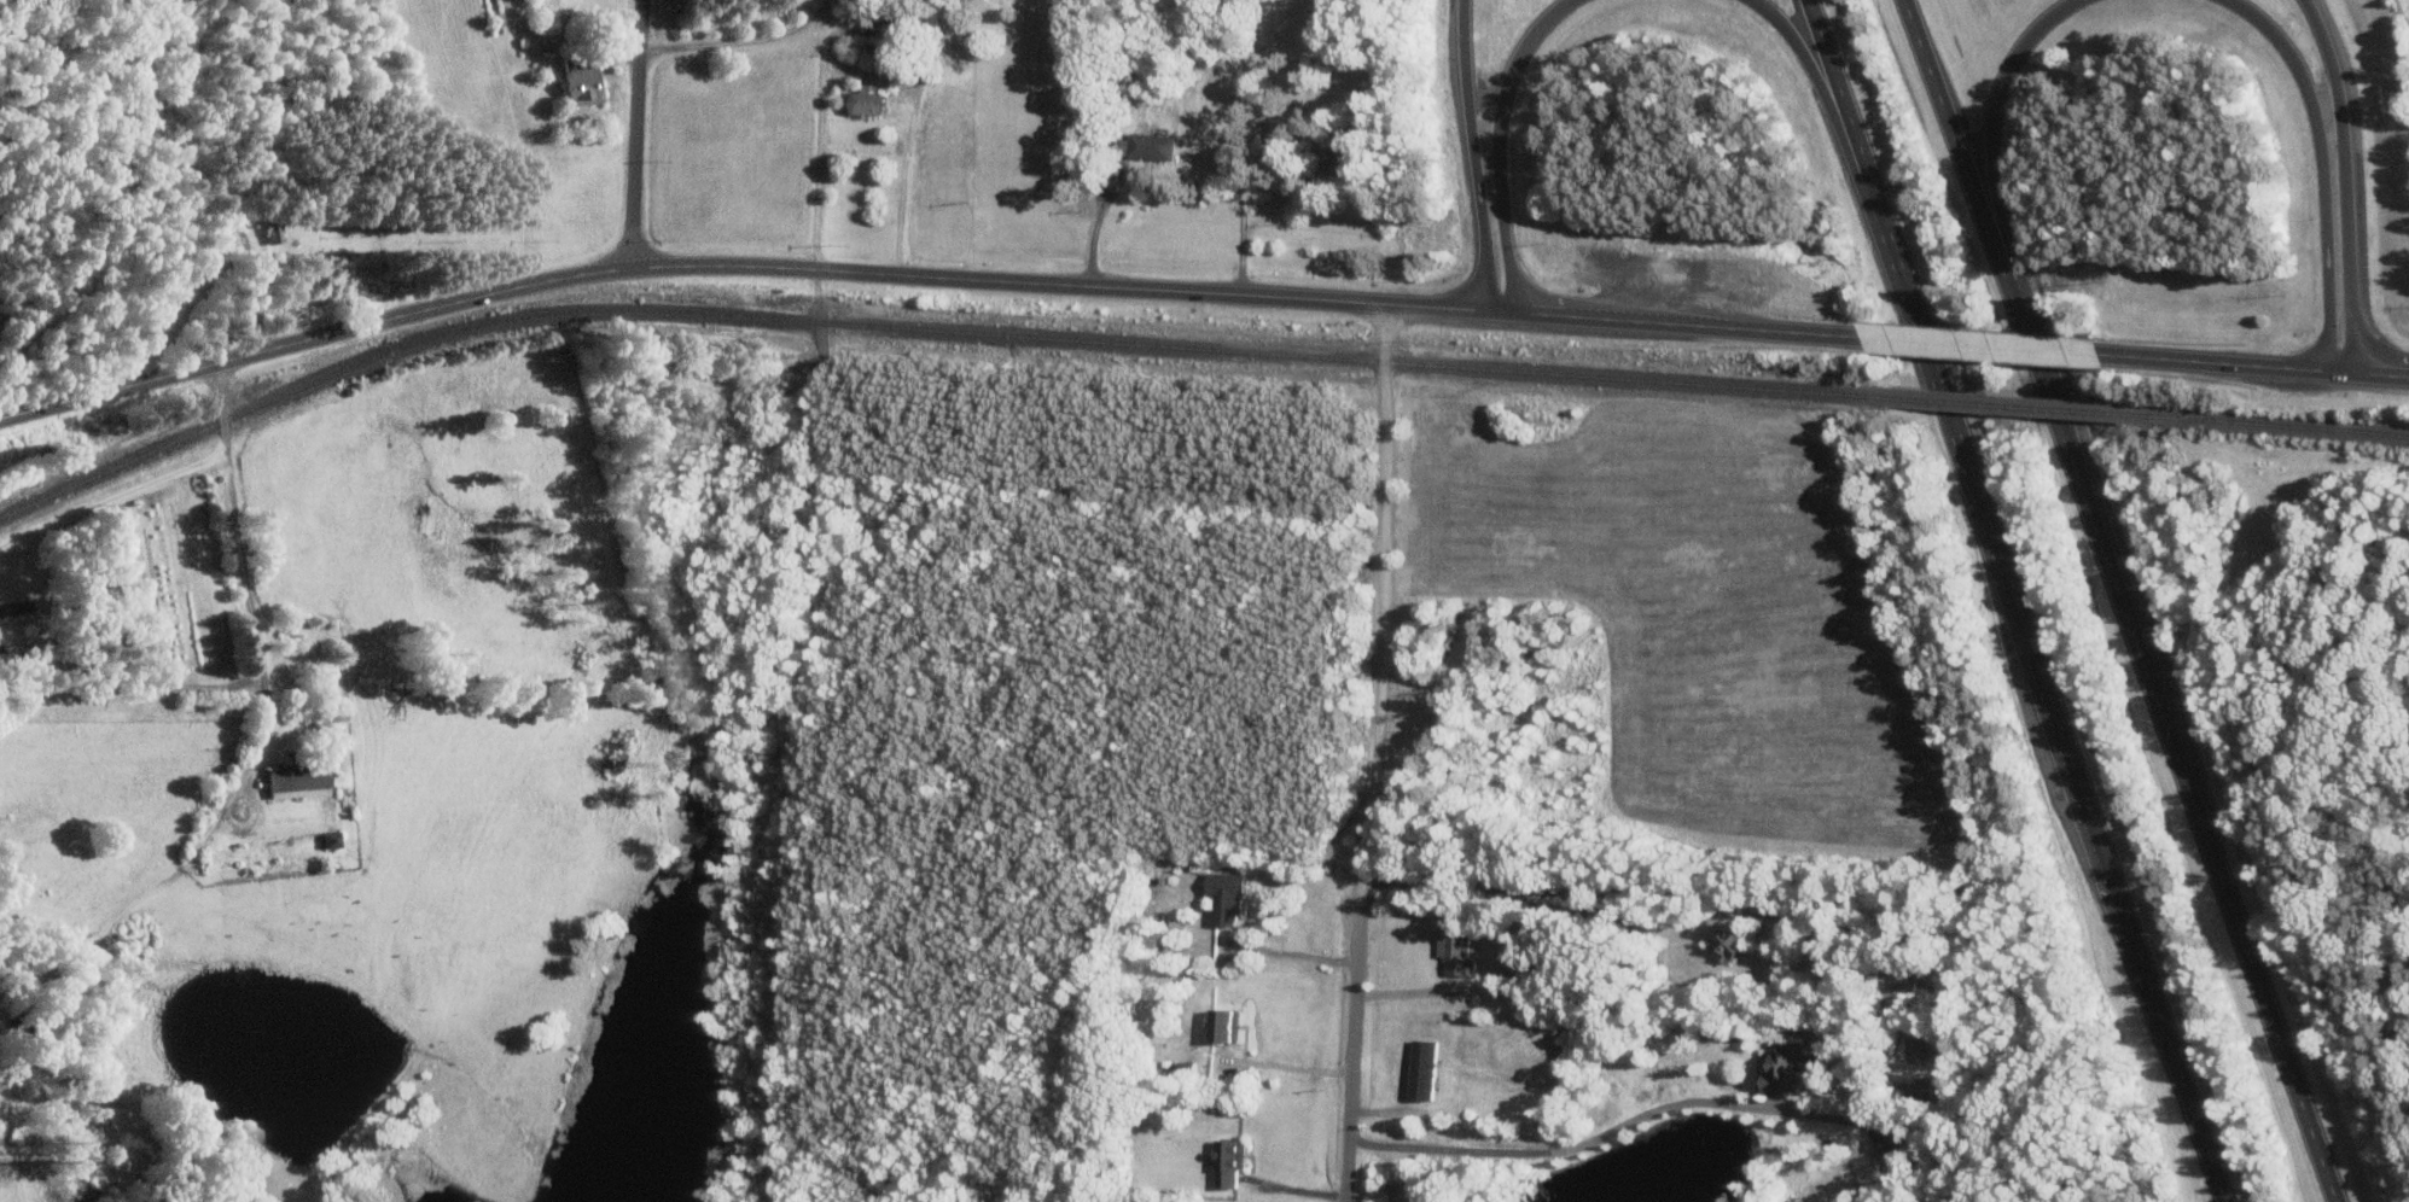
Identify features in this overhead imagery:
road: (744, 42)
road: (1806, 69)
building: (589, 83)
building: (871, 100)
road: (1990, 128)
road: (639, 130)
road: (1496, 142)
building: (1157, 145)
road: (822, 150)
road: (1472, 153)
road: (176, 158)
road: (2322, 167)
road: (1247, 168)
road: (2341, 181)
road: (1094, 220)
road: (919, 268)
railway: (921, 326)
road: (1976, 345)
road: (2252, 364)
railway: (2000, 401)
railway: (2263, 421)
road: (116, 498)
road: (2119, 601)
road: (2009, 602)
road: (262, 653)
road: (1367, 751)
building: (304, 777)
road: (243, 783)
building: (337, 839)
road: (1569, 887)
building: (1228, 897)
building: (1735, 943)
building: (1459, 946)
road: (1294, 952)
building: (1230, 1022)
road: (1285, 1064)
building: (1792, 1066)
building: (1426, 1068)
road: (1563, 1146)
building: (1233, 1160)

